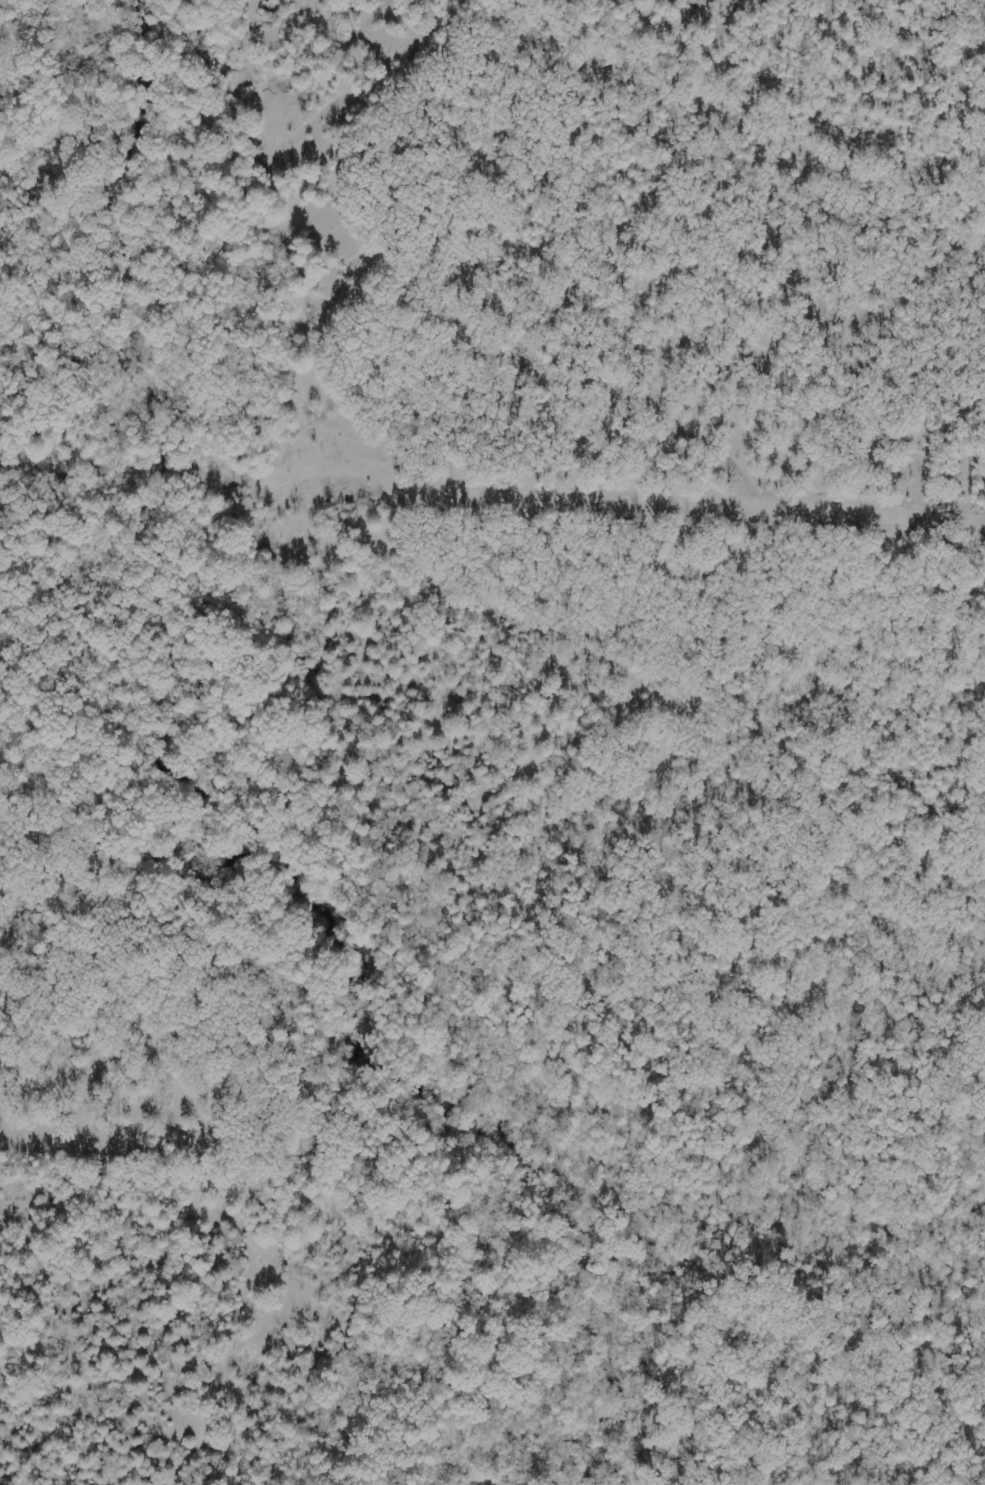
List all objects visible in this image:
road: (837, 103)
road: (280, 148)
park: (492, 581)
road: (128, 890)
road: (536, 1001)
road: (87, 1067)

